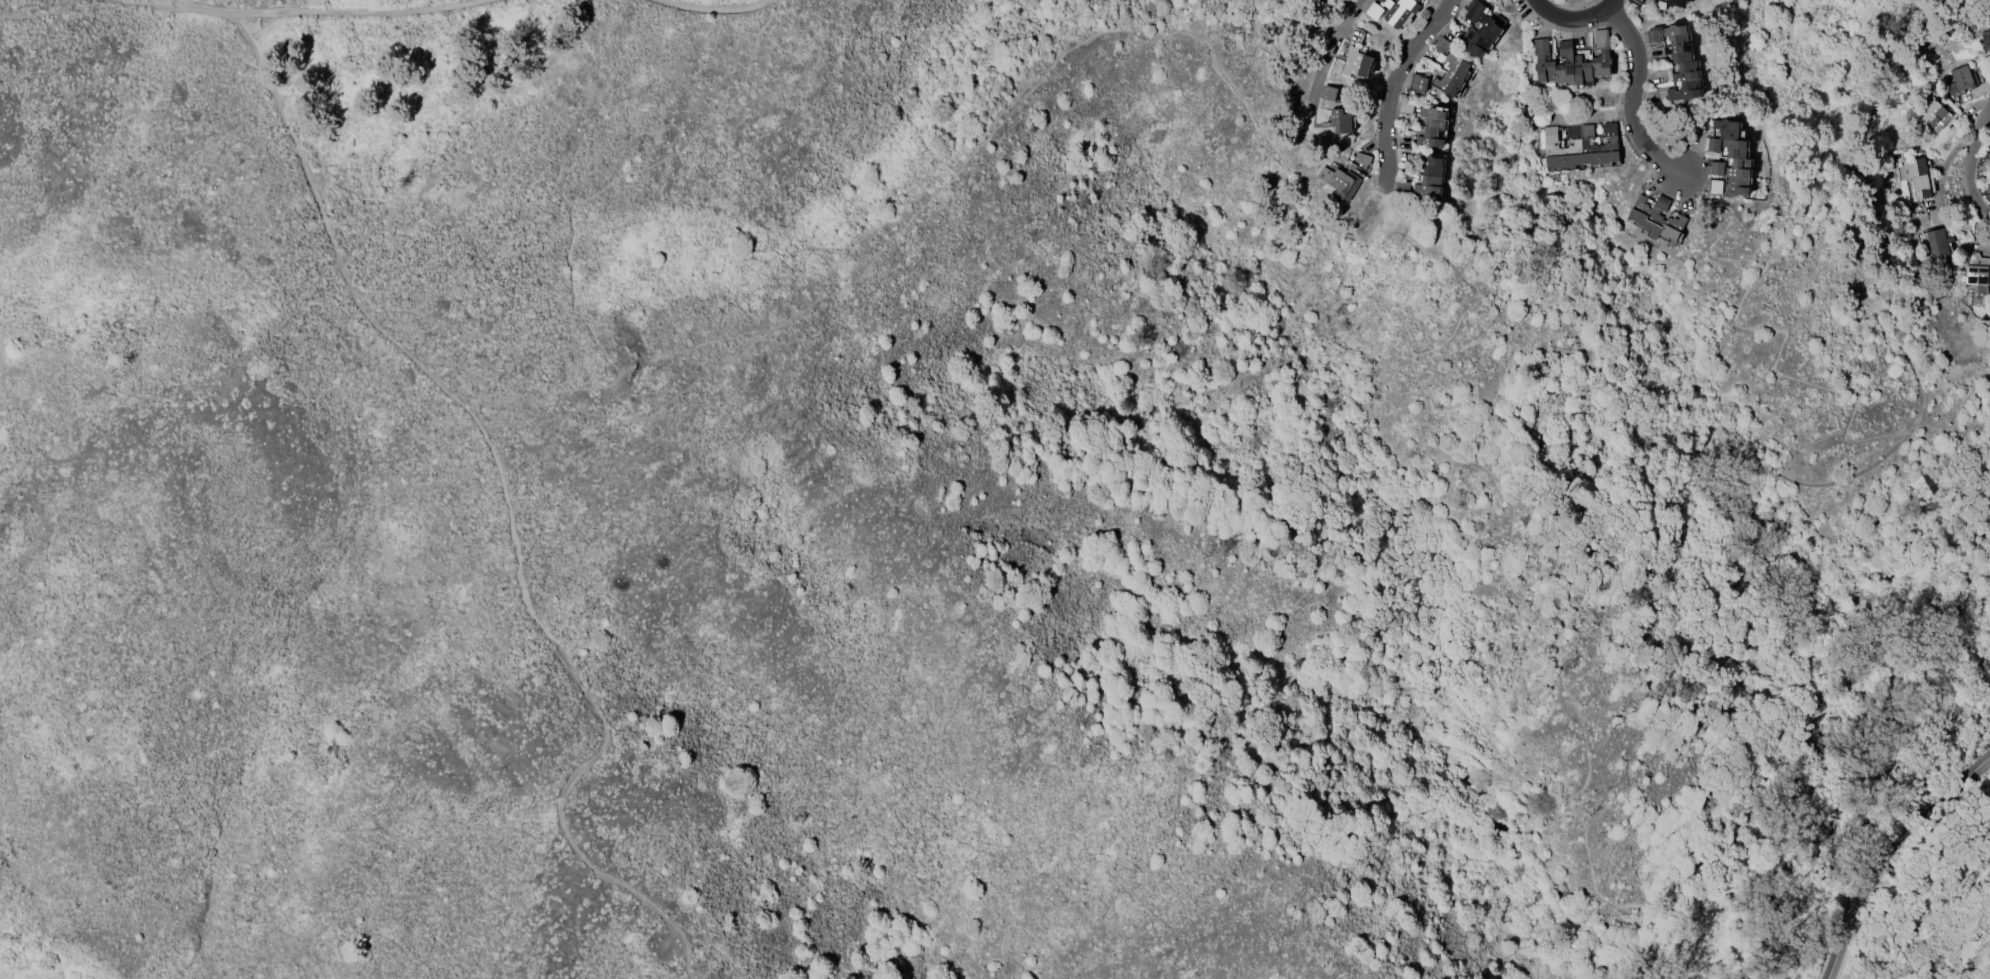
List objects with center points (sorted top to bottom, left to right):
road: (86, 1)
road: (171, 1)
building: (1674, 2)
road: (711, 9)
road: (203, 11)
building: (1374, 11)
building: (1401, 11)
road: (363, 13)
road: (1572, 20)
building: (1479, 30)
building: (1986, 41)
building: (1443, 45)
road: (1322, 57)
building: (1573, 61)
building: (1678, 61)
building: (1356, 63)
building: (1452, 75)
building: (1961, 80)
road: (1393, 83)
building: (1327, 93)
road: (1632, 97)
building: (1931, 114)
road: (1592, 117)
building: (1341, 121)
building: (1432, 128)
building: (1581, 147)
building: (1739, 158)
road: (1960, 169)
building: (1430, 176)
building: (1918, 177)
building: (1340, 183)
building: (1402, 188)
building: (1657, 218)
building: (1938, 242)
building: (1980, 268)
road: (571, 288)
road: (510, 506)
road: (1803, 762)
road: (1893, 862)

